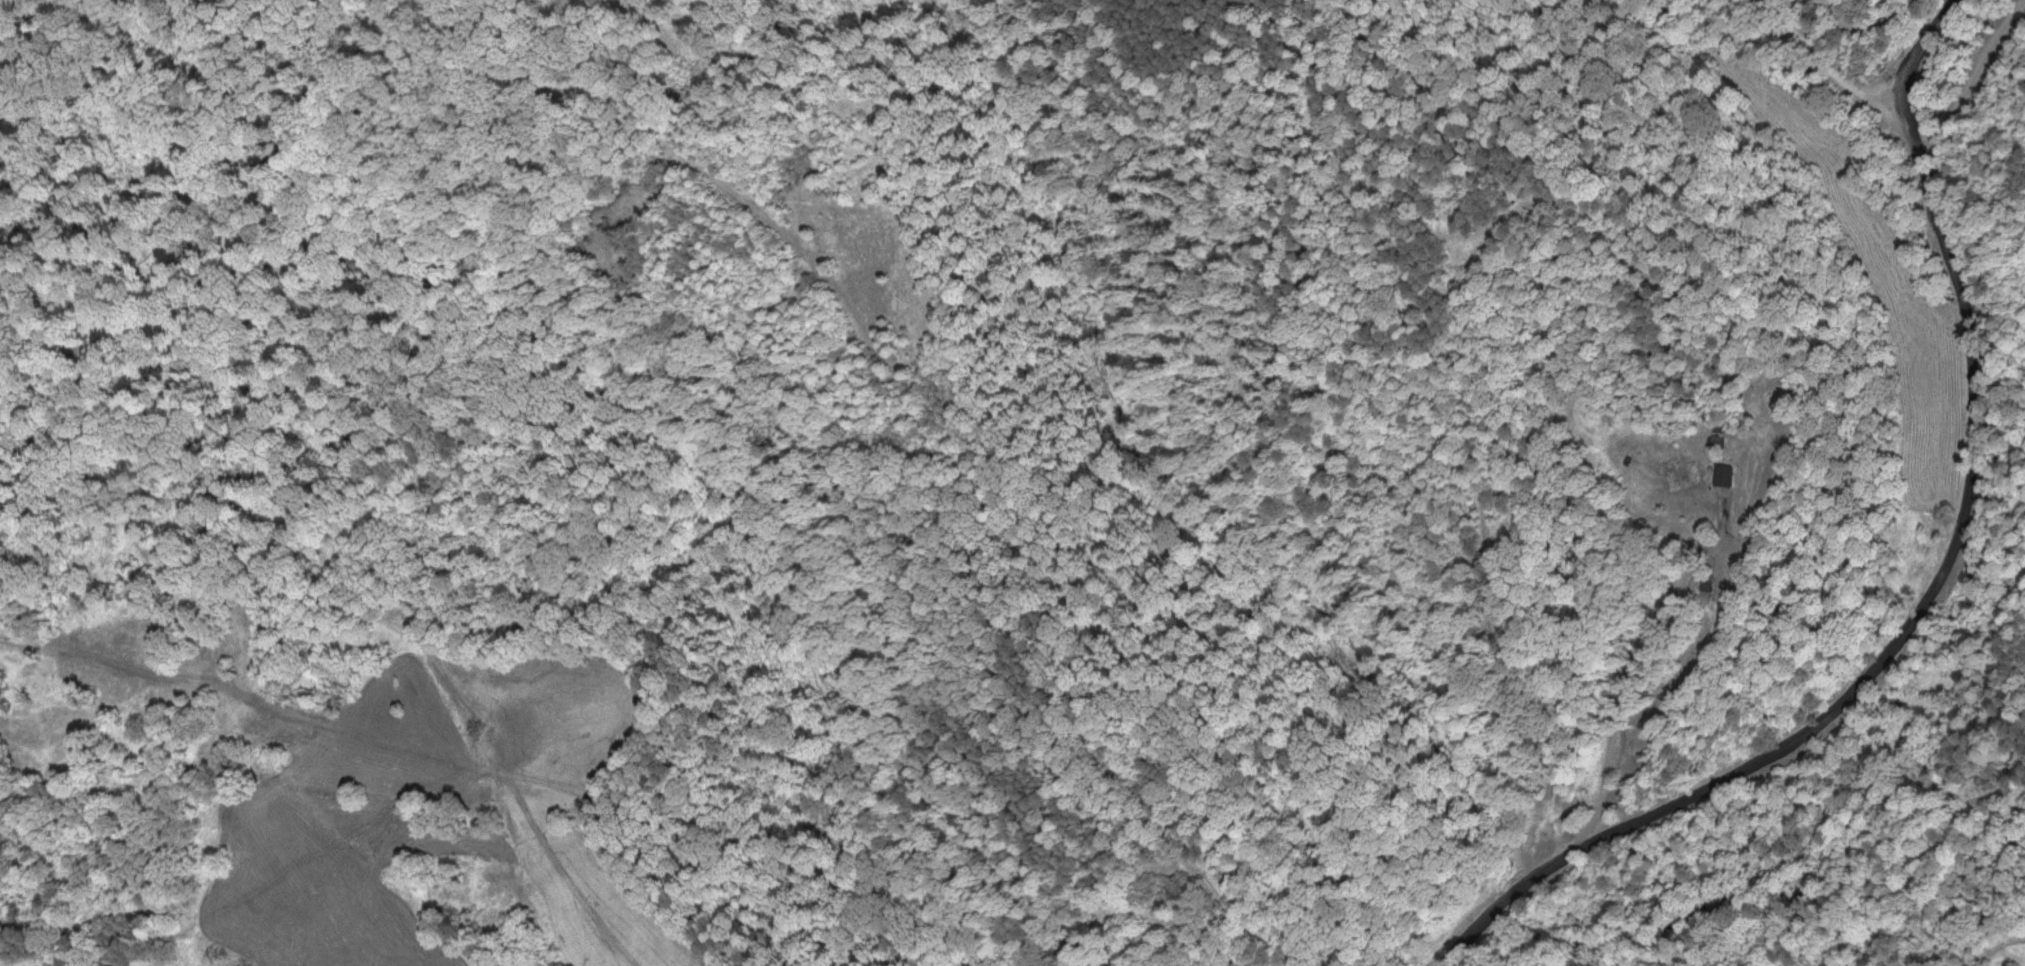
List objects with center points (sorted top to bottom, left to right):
road: (1921, 47)
road: (1802, 66)
building: (1679, 475)
road: (1693, 553)
road: (1903, 634)

